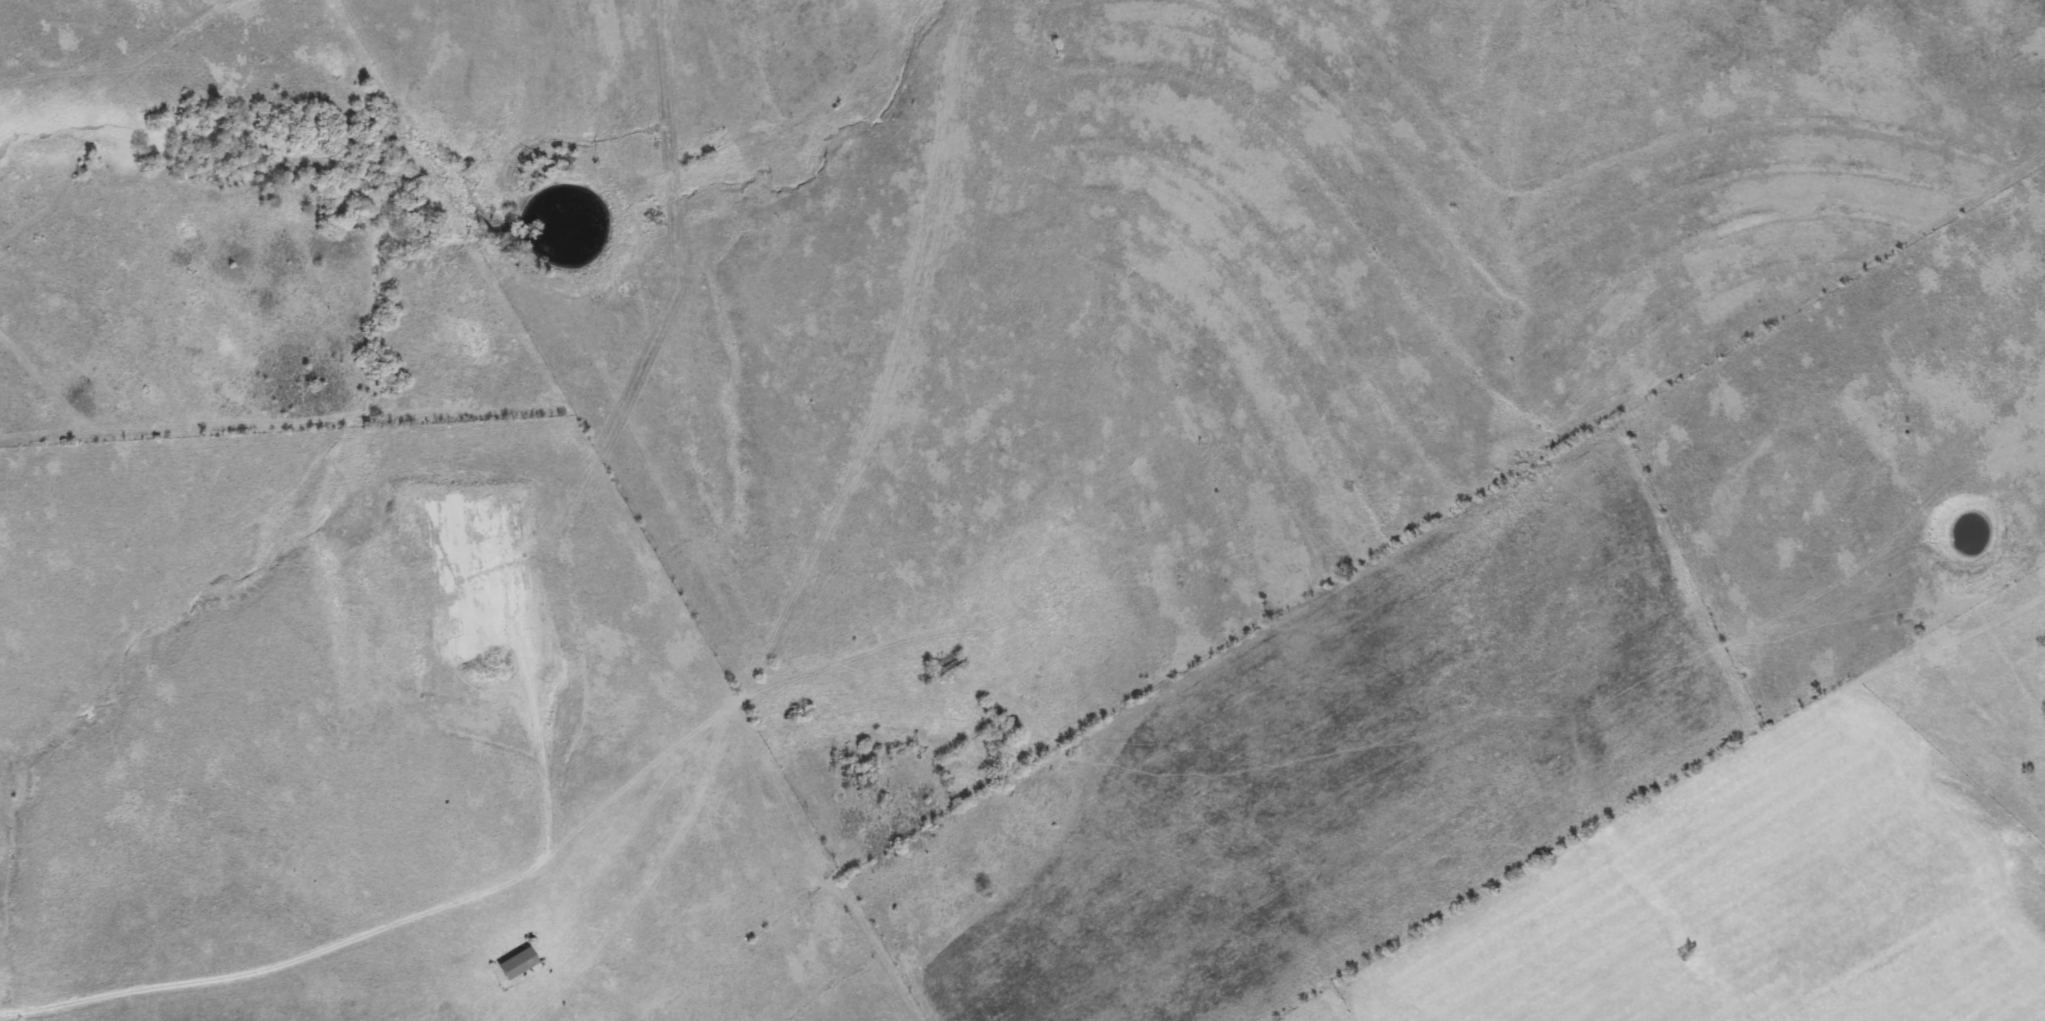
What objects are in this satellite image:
building: (512, 962)

